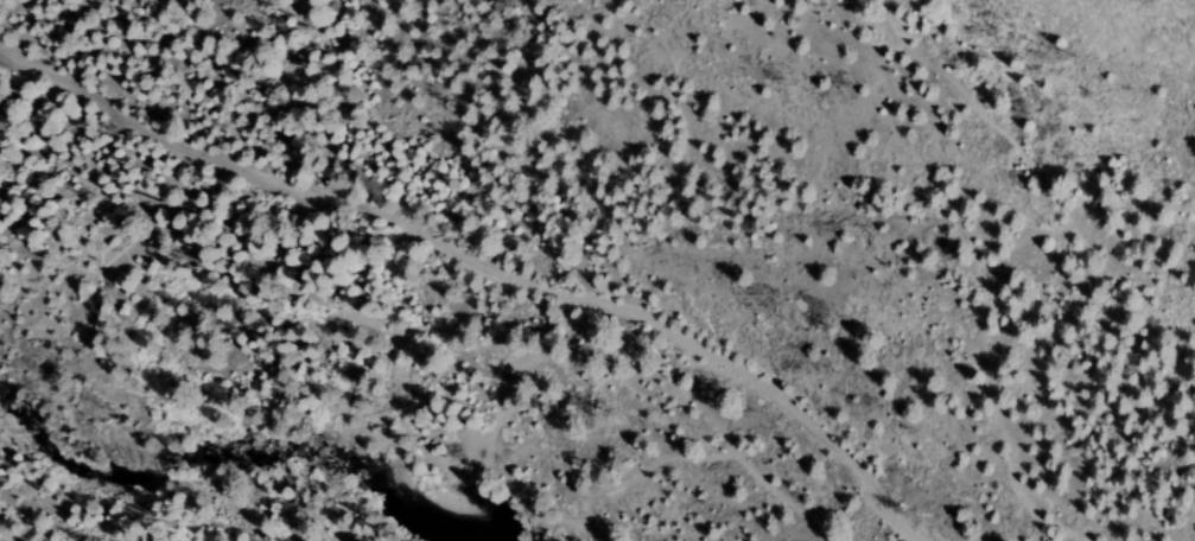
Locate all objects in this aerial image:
road: (1089, 259)
road: (487, 267)

